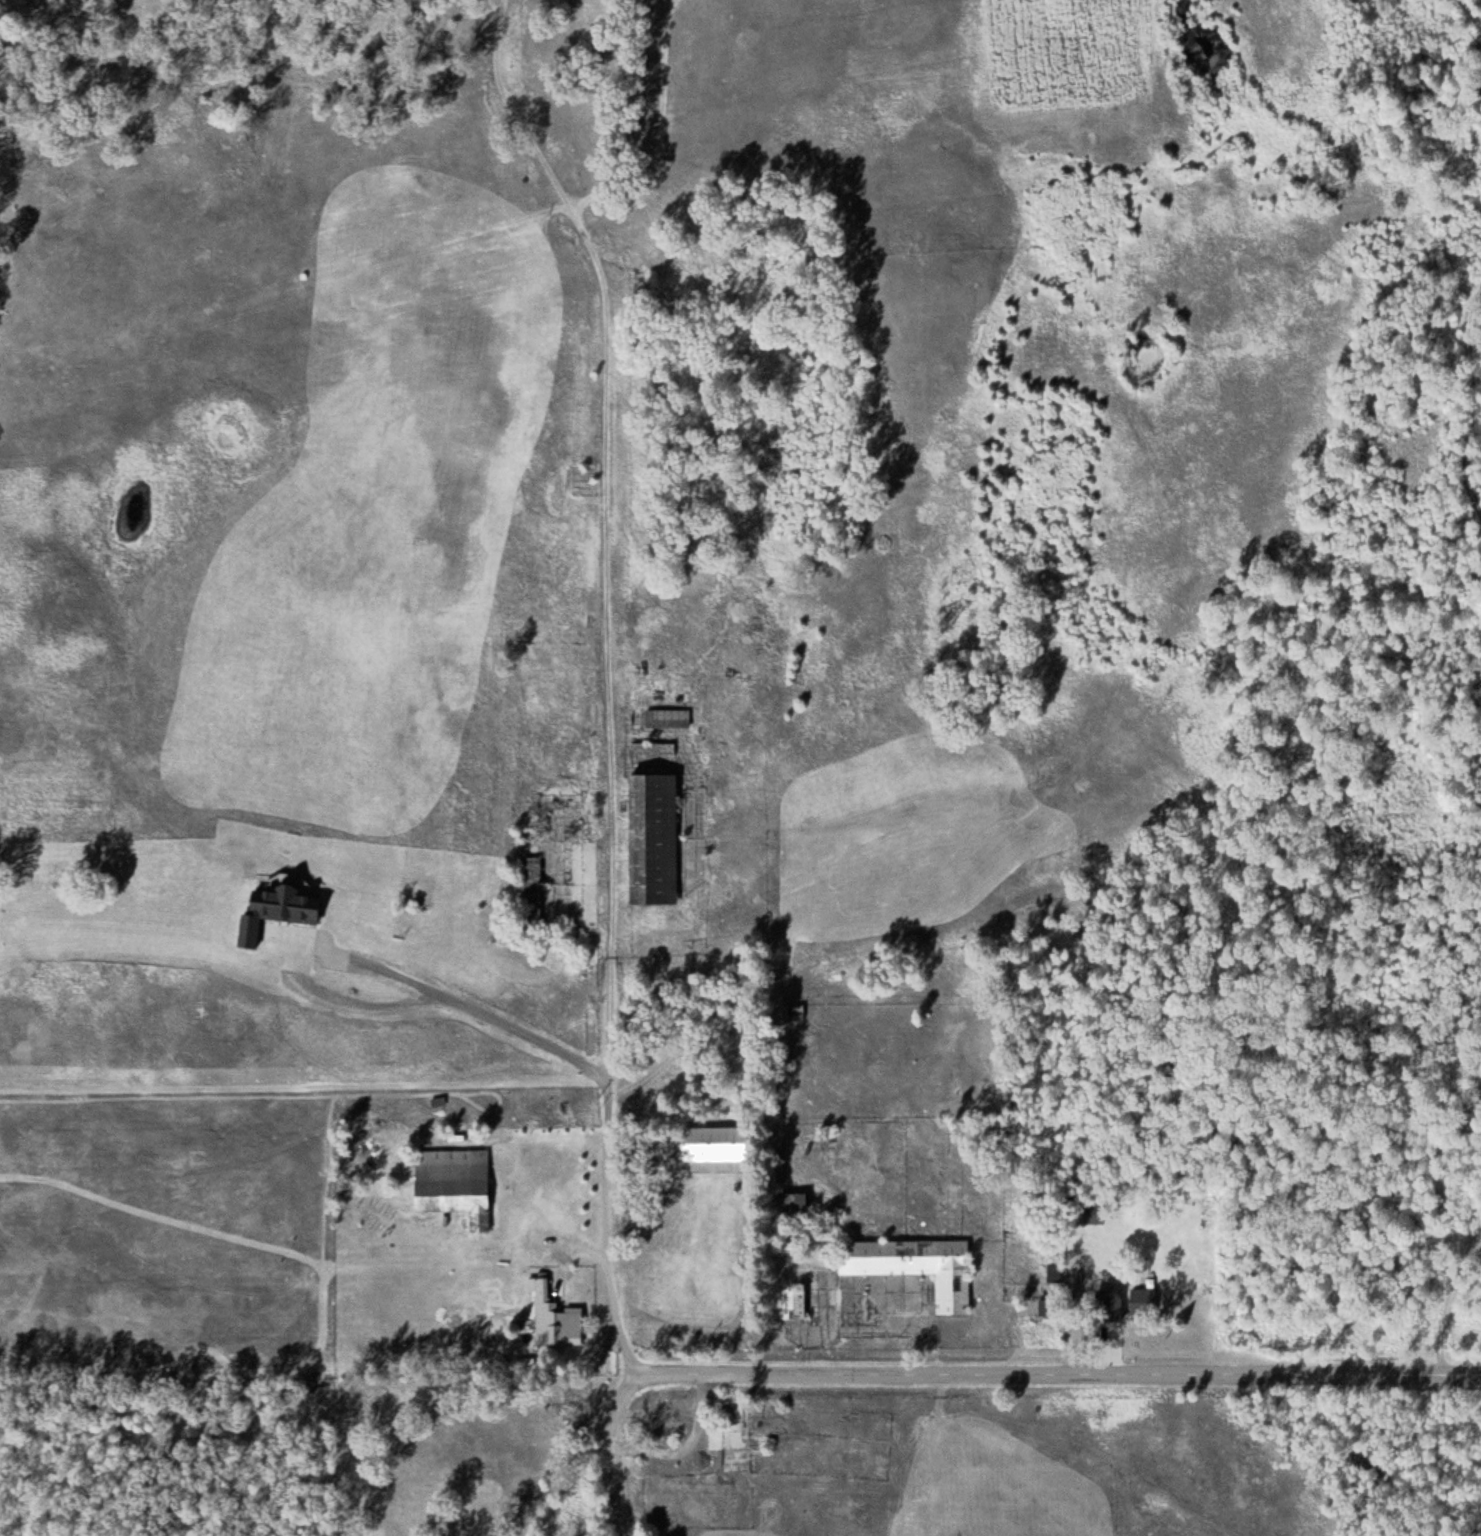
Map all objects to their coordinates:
road: (1450, 451)
road: (615, 687)
building: (669, 718)
building: (656, 839)
building: (541, 840)
building: (589, 884)
building: (281, 911)
building: (799, 1015)
building: (438, 1102)
building: (718, 1143)
building: (456, 1183)
building: (798, 1205)
building: (1097, 1218)
building: (918, 1266)
building: (1145, 1302)
building: (797, 1304)
building: (557, 1322)
road: (977, 1371)
building: (668, 1417)
building: (720, 1436)
building: (768, 1439)

